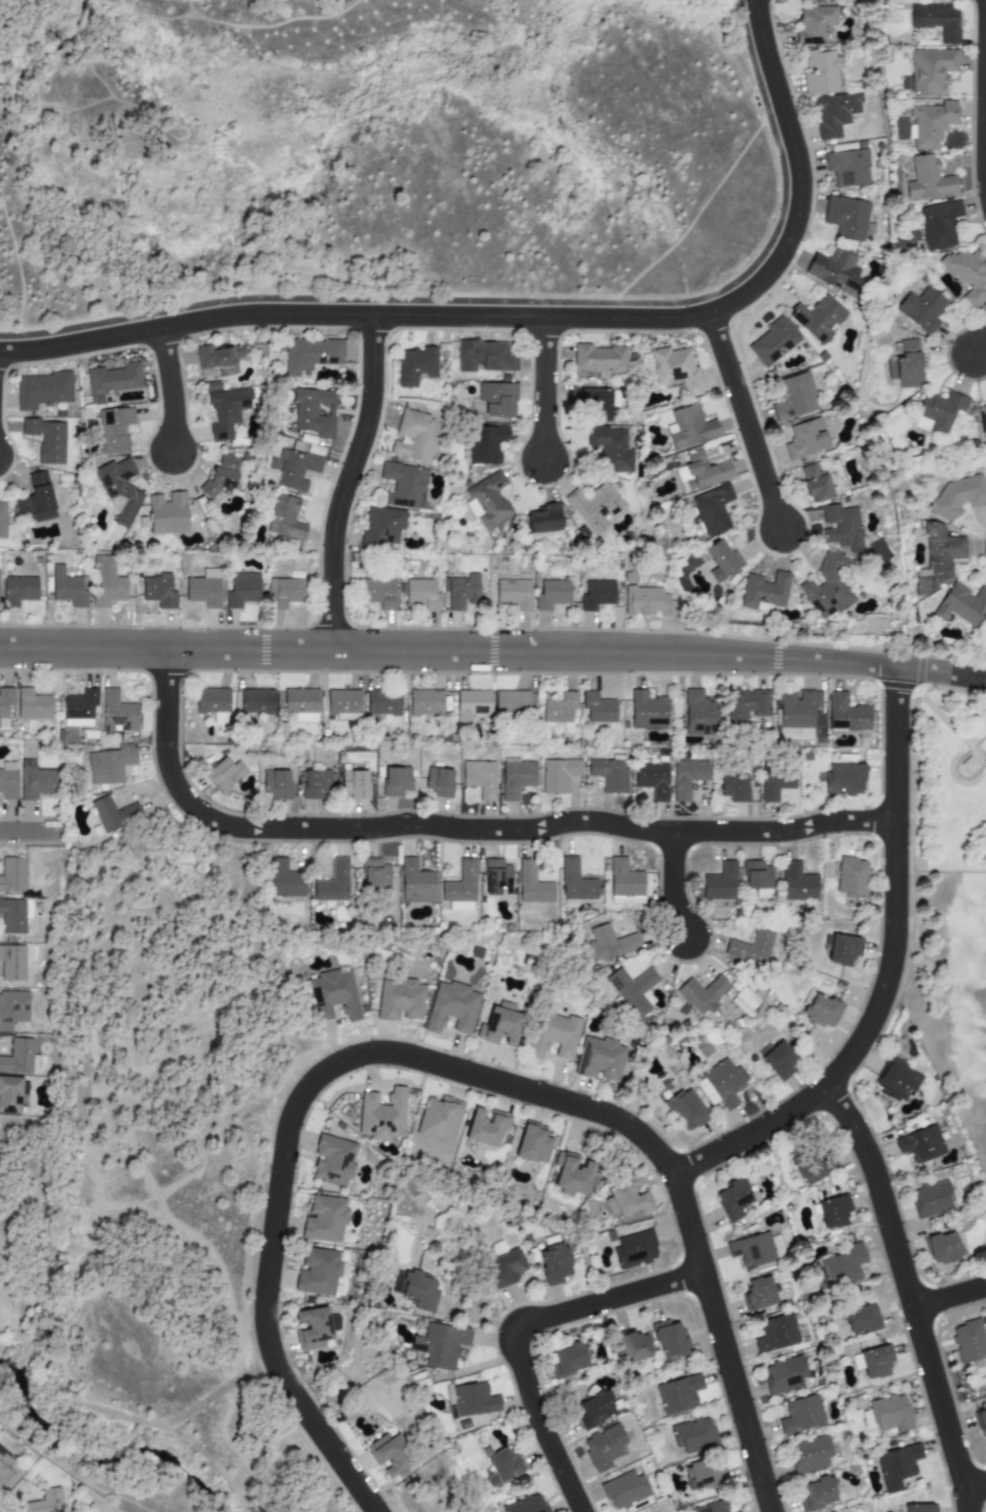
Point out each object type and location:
building: (936, 20)
building: (814, 24)
building: (931, 71)
building: (820, 73)
road: (984, 94)
building: (835, 113)
building: (930, 124)
park: (379, 156)
road: (782, 163)
building: (847, 167)
building: (927, 179)
building: (845, 217)
building: (938, 224)
building: (834, 270)
building: (967, 274)
road: (352, 300)
building: (921, 309)
road: (531, 316)
building: (817, 317)
building: (772, 342)
road: (979, 346)
building: (310, 355)
building: (483, 357)
building: (218, 359)
building: (599, 359)
building: (905, 365)
building: (415, 366)
building: (674, 369)
building: (114, 379)
road: (543, 388)
road: (169, 389)
building: (42, 390)
building: (793, 397)
building: (497, 399)
building: (594, 404)
building: (227, 411)
building: (314, 412)
building: (937, 412)
building: (982, 419)
road: (743, 420)
building: (688, 427)
building: (114, 429)
building: (415, 436)
building: (804, 438)
building: (46, 439)
building: (484, 444)
building: (610, 448)
street lamp: (199, 450)
building: (295, 469)
building: (699, 472)
building: (220, 476)
road: (346, 482)
building: (814, 484)
building: (403, 485)
building: (118, 489)
building: (958, 496)
building: (36, 499)
building: (487, 500)
building: (594, 507)
building: (709, 510)
building: (167, 514)
building: (285, 518)
building: (542, 519)
building: (2, 520)
building: (382, 526)
building: (840, 527)
street lamp: (805, 542)
building: (936, 558)
building: (720, 560)
building: (106, 583)
building: (826, 587)
building: (67, 588)
building: (18, 590)
building: (242, 590)
building: (763, 590)
building: (158, 591)
building: (203, 591)
building: (285, 592)
building: (378, 592)
building: (462, 592)
building: (422, 594)
building: (513, 594)
building: (551, 594)
building: (596, 595)
building: (646, 602)
building: (961, 605)
street lamp: (133, 625)
road: (311, 650)
road: (760, 657)
road: (942, 673)
street lamp: (494, 676)
road: (165, 697)
building: (211, 700)
building: (256, 701)
building: (425, 702)
building: (511, 702)
building: (342, 704)
building: (381, 704)
building: (5, 705)
building: (32, 705)
building: (300, 705)
building: (471, 705)
building: (746, 705)
building: (80, 707)
building: (559, 708)
building: (597, 708)
building: (797, 708)
building: (647, 711)
building: (116, 713)
building: (698, 713)
building: (846, 714)
building: (109, 765)
building: (223, 773)
building: (558, 774)
building: (609, 774)
building: (686, 777)
building: (480, 778)
building: (516, 779)
building: (844, 779)
building: (652, 780)
building: (35, 781)
building: (439, 781)
building: (396, 782)
building: (317, 783)
building: (775, 783)
building: (276, 784)
building: (355, 784)
building: (8, 785)
building: (734, 787)
building: (114, 815)
street lamp: (912, 826)
road: (507, 830)
road: (29, 831)
street lamp: (476, 846)
building: (375, 873)
building: (12, 874)
building: (497, 877)
building: (852, 877)
building: (758, 878)
building: (624, 879)
building: (285, 880)
building: (576, 881)
building: (333, 882)
building: (720, 882)
building: (416, 883)
building: (797, 883)
building: (532, 884)
road: (672, 885)
building: (460, 888)
park: (951, 902)
building: (14, 915)
building: (610, 942)
building: (750, 948)
building: (843, 949)
building: (12, 962)
road: (887, 974)
building: (632, 990)
building: (702, 994)
building: (333, 995)
building: (399, 999)
building: (452, 1007)
building: (12, 1009)
building: (822, 1011)
building: (501, 1023)
building: (554, 1035)
street lamp: (418, 1042)
building: (19, 1057)
street lamp: (826, 1058)
road: (191, 1059)
building: (599, 1059)
building: (779, 1060)
building: (896, 1079)
building: (721, 1084)
road: (512, 1086)
building: (9, 1095)
street lamp: (520, 1107)
building: (685, 1110)
building: (382, 1115)
building: (438, 1119)
building: (486, 1127)
building: (532, 1144)
building: (920, 1144)
road: (202, 1149)
building: (332, 1160)
building: (814, 1166)
building: (571, 1174)
road: (23, 1189)
street lamp: (295, 1189)
building: (626, 1198)
building: (732, 1199)
building: (932, 1199)
road: (142, 1202)
road: (50, 1203)
road: (91, 1209)
building: (833, 1211)
road: (148, 1212)
building: (324, 1219)
building: (946, 1248)
building: (635, 1249)
building: (751, 1250)
building: (554, 1264)
building: (840, 1267)
building: (505, 1268)
building: (317, 1272)
road: (222, 1275)
building: (418, 1290)
building: (758, 1294)
road: (907, 1294)
road: (263, 1296)
road: (948, 1297)
building: (861, 1319)
street lamp: (597, 1320)
building: (312, 1328)
road: (513, 1328)
building: (775, 1333)
building: (669, 1339)
building: (968, 1341)
road: (721, 1343)
building: (440, 1345)
building: (635, 1347)
building: (567, 1360)
building: (875, 1361)
building: (783, 1375)
road: (219, 1390)
building: (678, 1394)
building: (474, 1400)
building: (450, 1402)
building: (593, 1409)
building: (801, 1414)
building: (890, 1414)
road: (119, 1416)
street lamp: (328, 1417)
building: (867, 1420)
building: (981, 1423)
building: (693, 1435)
road: (230, 1447)
building: (603, 1447)
building: (387, 1453)
building: (809, 1454)
building: (501, 1466)
building: (897, 1466)
building: (8, 1470)
road: (72, 1474)
building: (705, 1475)
road: (973, 1482)
building: (624, 1490)
building: (817, 1494)
building: (46, 1502)
building: (525, 1504)
building: (711, 1507)
building: (919, 1508)
building: (736, 1511)
building: (738, 1511)

